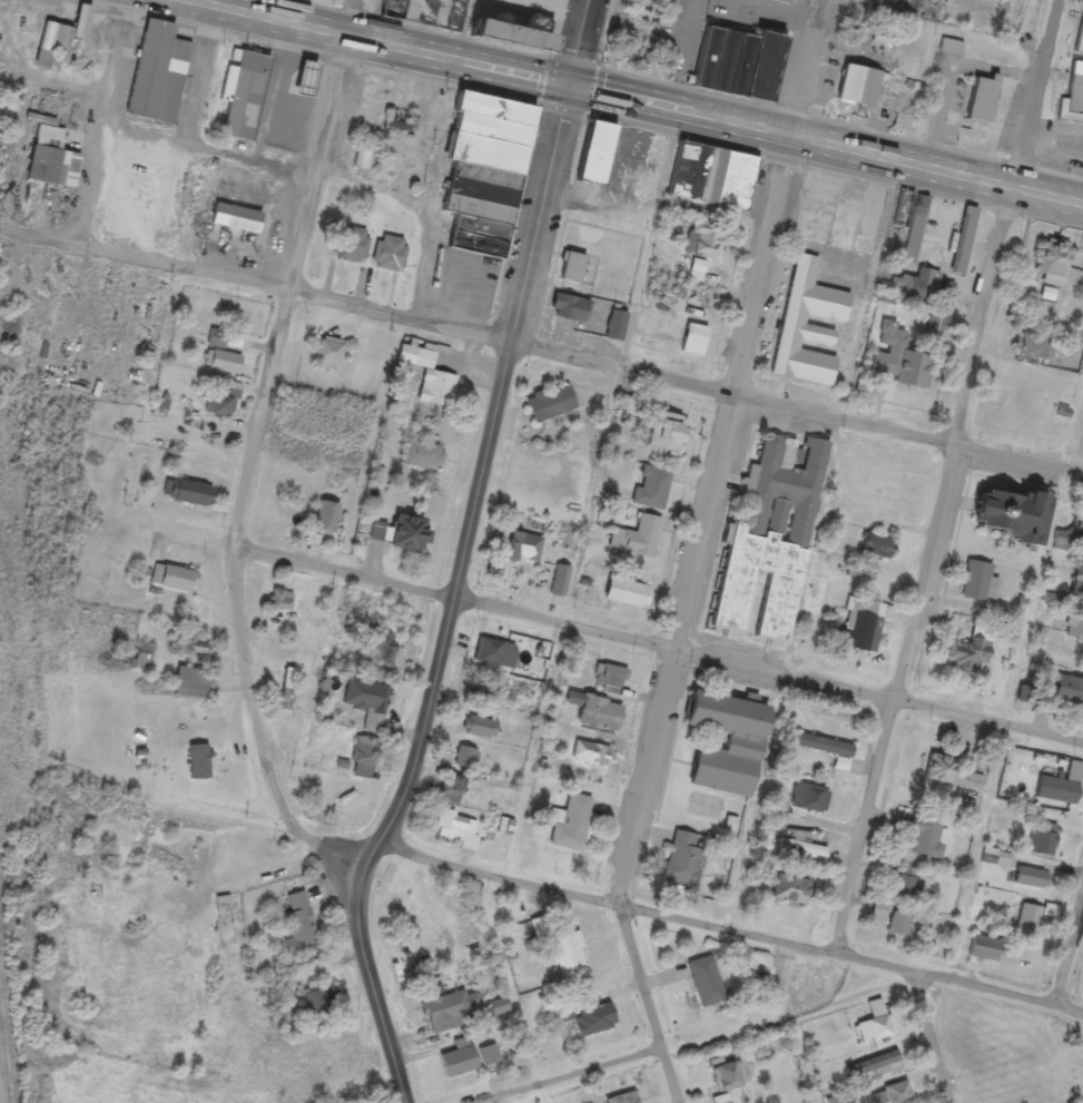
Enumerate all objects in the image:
building: (313, 0)
building: (443, 16)
building: (81, 23)
building: (502, 37)
building: (1081, 39)
road: (583, 45)
building: (51, 46)
building: (736, 65)
building: (157, 76)
building: (303, 80)
building: (862, 82)
building: (1074, 91)
building: (245, 98)
building: (987, 101)
road: (642, 105)
road: (104, 122)
building: (402, 122)
building: (486, 135)
building: (364, 158)
building: (51, 160)
building: (618, 160)
building: (2, 169)
building: (710, 177)
building: (235, 220)
building: (912, 225)
building: (705, 239)
building: (352, 247)
building: (388, 255)
building: (1053, 260)
building: (571, 269)
building: (697, 270)
building: (918, 287)
building: (568, 309)
building: (937, 326)
building: (614, 327)
building: (800, 327)
building: (696, 338)
building: (225, 342)
building: (1034, 348)
road: (541, 349)
building: (327, 355)
building: (899, 361)
building: (221, 364)
building: (429, 380)
building: (217, 405)
building: (550, 405)
building: (667, 434)
building: (422, 459)
road: (256, 466)
road: (949, 480)
building: (651, 491)
building: (186, 494)
building: (1007, 516)
building: (326, 521)
building: (1077, 529)
building: (401, 535)
building: (637, 540)
building: (770, 540)
building: (875, 548)
building: (524, 551)
road: (700, 554)
building: (863, 573)
building: (174, 581)
building: (976, 583)
building: (561, 584)
building: (624, 595)
road: (453, 599)
building: (280, 602)
building: (858, 627)
building: (1075, 632)
road: (631, 639)
building: (189, 644)
building: (381, 649)
building: (489, 653)
building: (968, 657)
building: (609, 679)
building: (191, 683)
building: (287, 691)
building: (1069, 693)
building: (362, 699)
building: (594, 715)
building: (787, 718)
building: (480, 730)
building: (723, 745)
building: (364, 760)
building: (951, 776)
building: (456, 784)
building: (809, 800)
building: (947, 804)
building: (572, 827)
building: (456, 830)
building: (927, 839)
building: (1043, 841)
building: (685, 861)
building: (1031, 880)
building: (905, 885)
building: (789, 892)
building: (894, 922)
building: (1031, 922)
building: (299, 927)
road: (735, 934)
building: (561, 951)
building: (984, 951)
road: (1073, 973)
building: (706, 984)
building: (318, 1002)
building: (499, 1010)
building: (447, 1013)
road: (792, 1016)
railway: (6, 1021)
building: (592, 1023)
building: (875, 1031)
road: (935, 1038)
building: (489, 1057)
building: (457, 1062)
building: (873, 1066)
building: (728, 1079)
road: (587, 1081)
building: (898, 1094)
building: (624, 1100)
building: (722, 1101)

